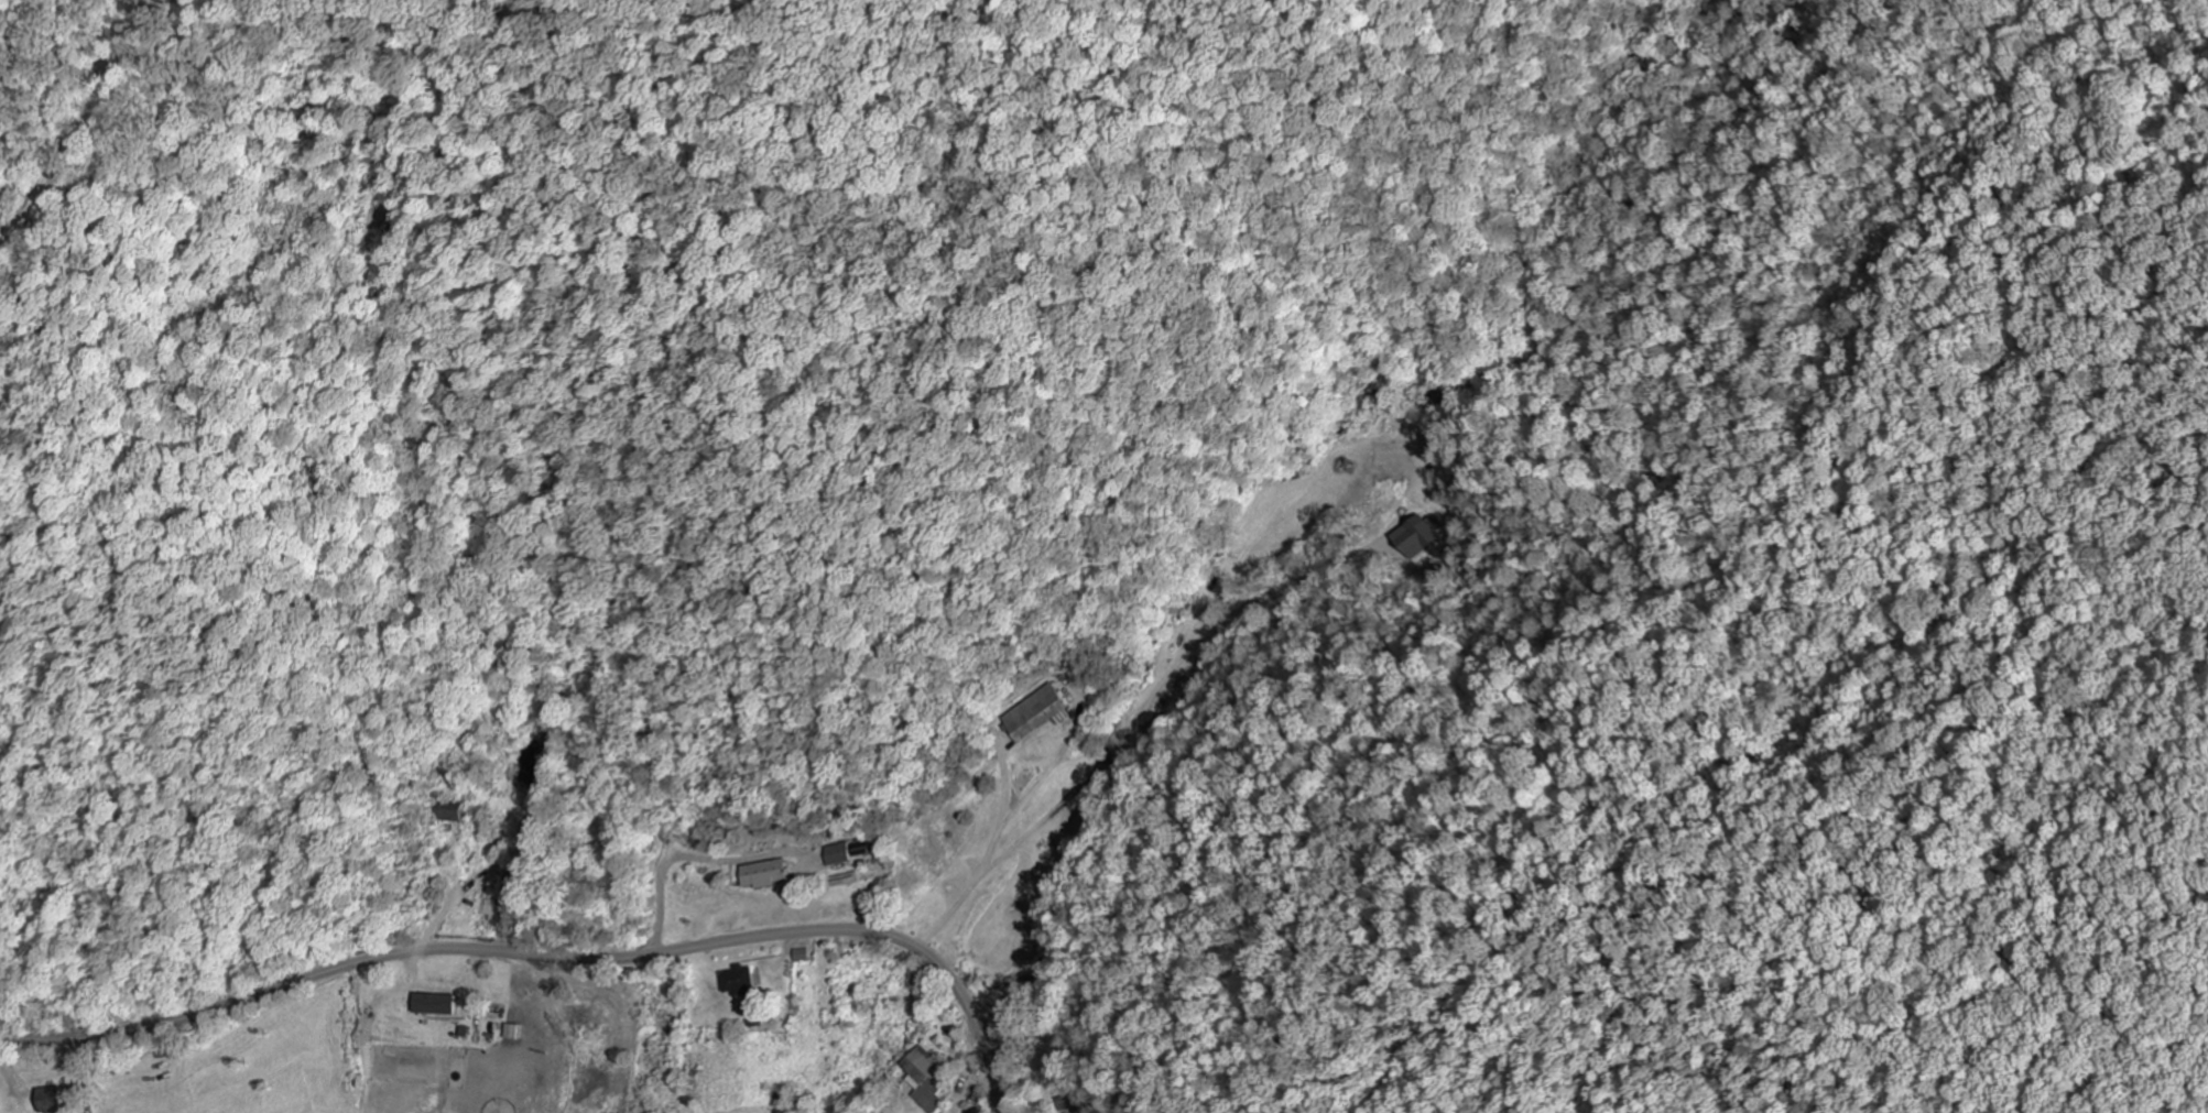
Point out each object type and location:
building: (1414, 538)
building: (1037, 714)
road: (1129, 719)
building: (856, 850)
building: (836, 854)
road: (690, 858)
building: (766, 873)
building: (802, 956)
road: (548, 957)
building: (742, 981)
building: (510, 1032)
road: (144, 1070)
building: (926, 1080)
building: (55, 1099)

